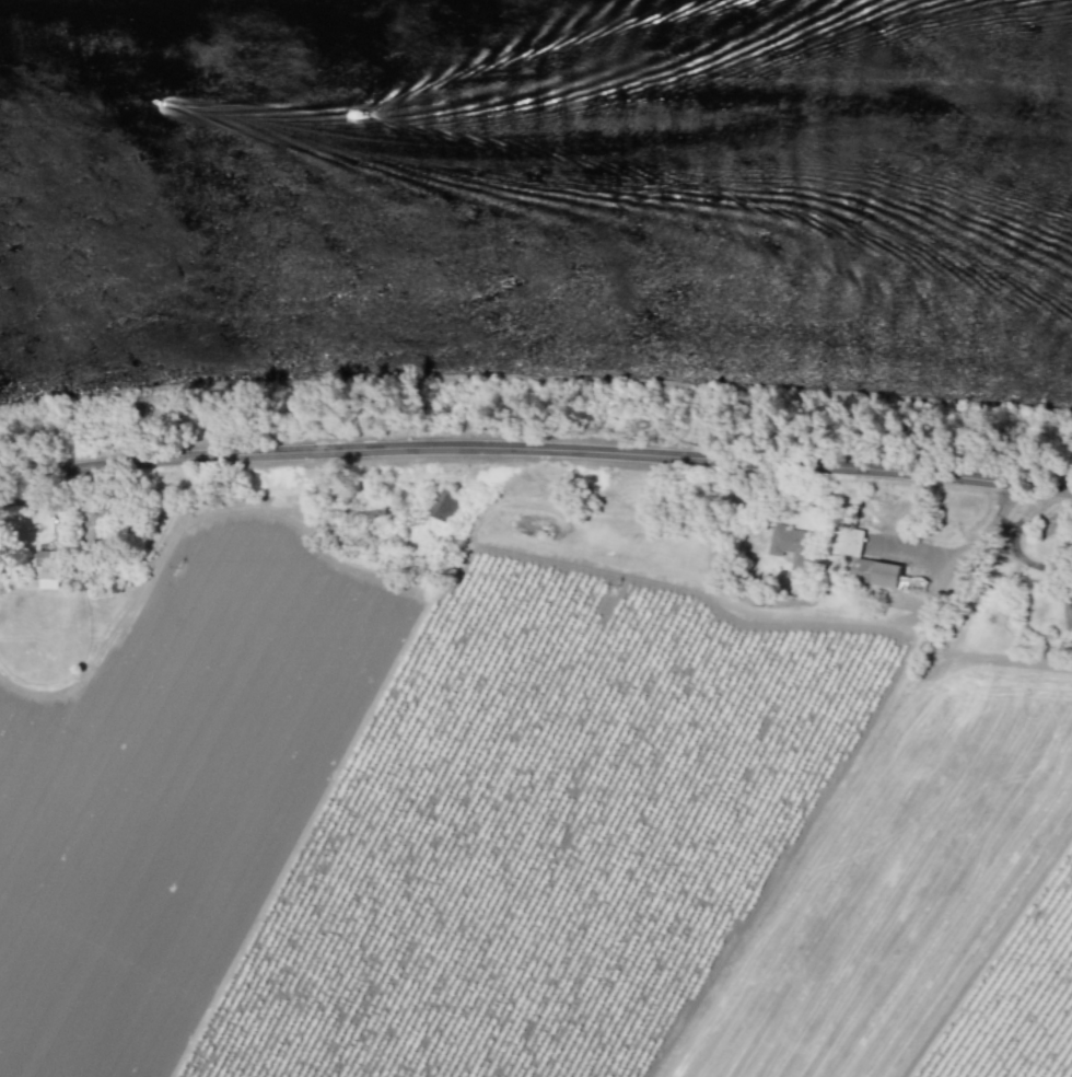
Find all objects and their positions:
river: (536, 166)
road: (536, 452)
building: (446, 505)
road: (1012, 542)
building: (790, 544)
building: (886, 574)
building: (1069, 614)

